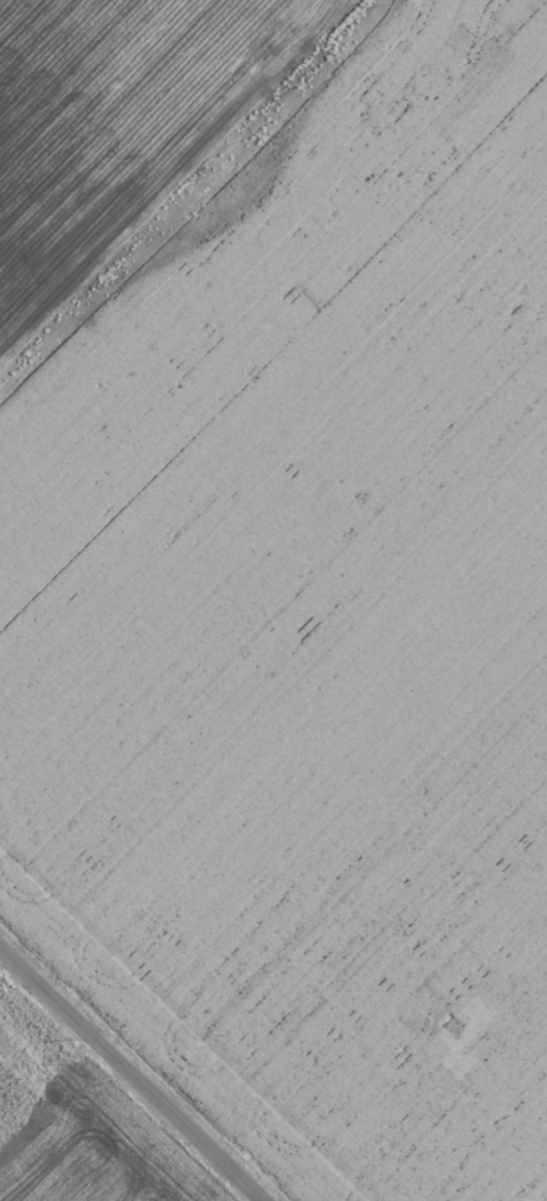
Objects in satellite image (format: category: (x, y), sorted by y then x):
road: (133, 1072)

